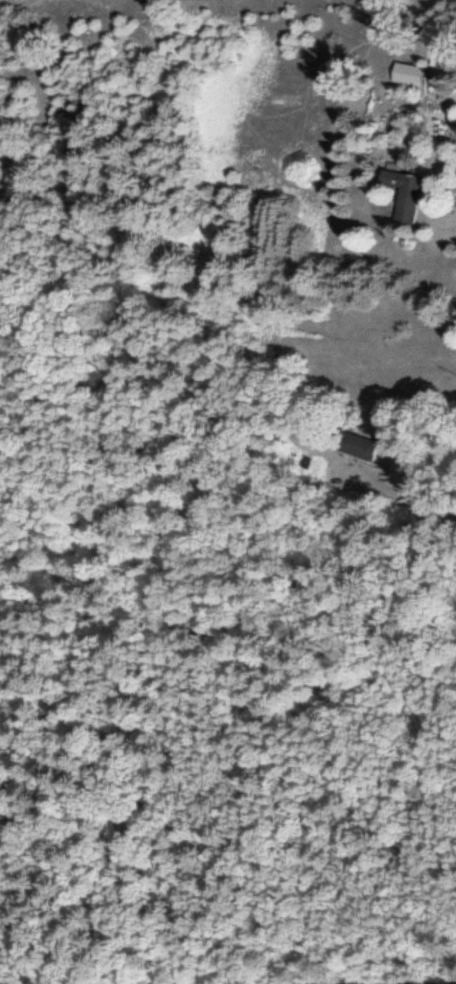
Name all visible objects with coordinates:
building: (439, 62)
building: (407, 71)
building: (402, 192)
building: (351, 441)

